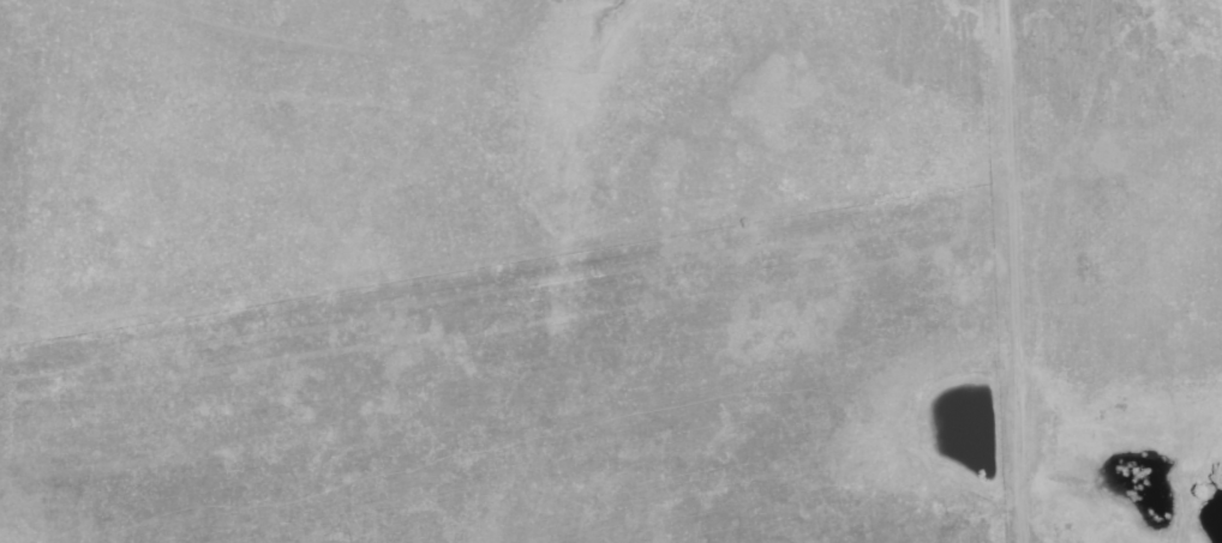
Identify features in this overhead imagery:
road: (1017, 271)

